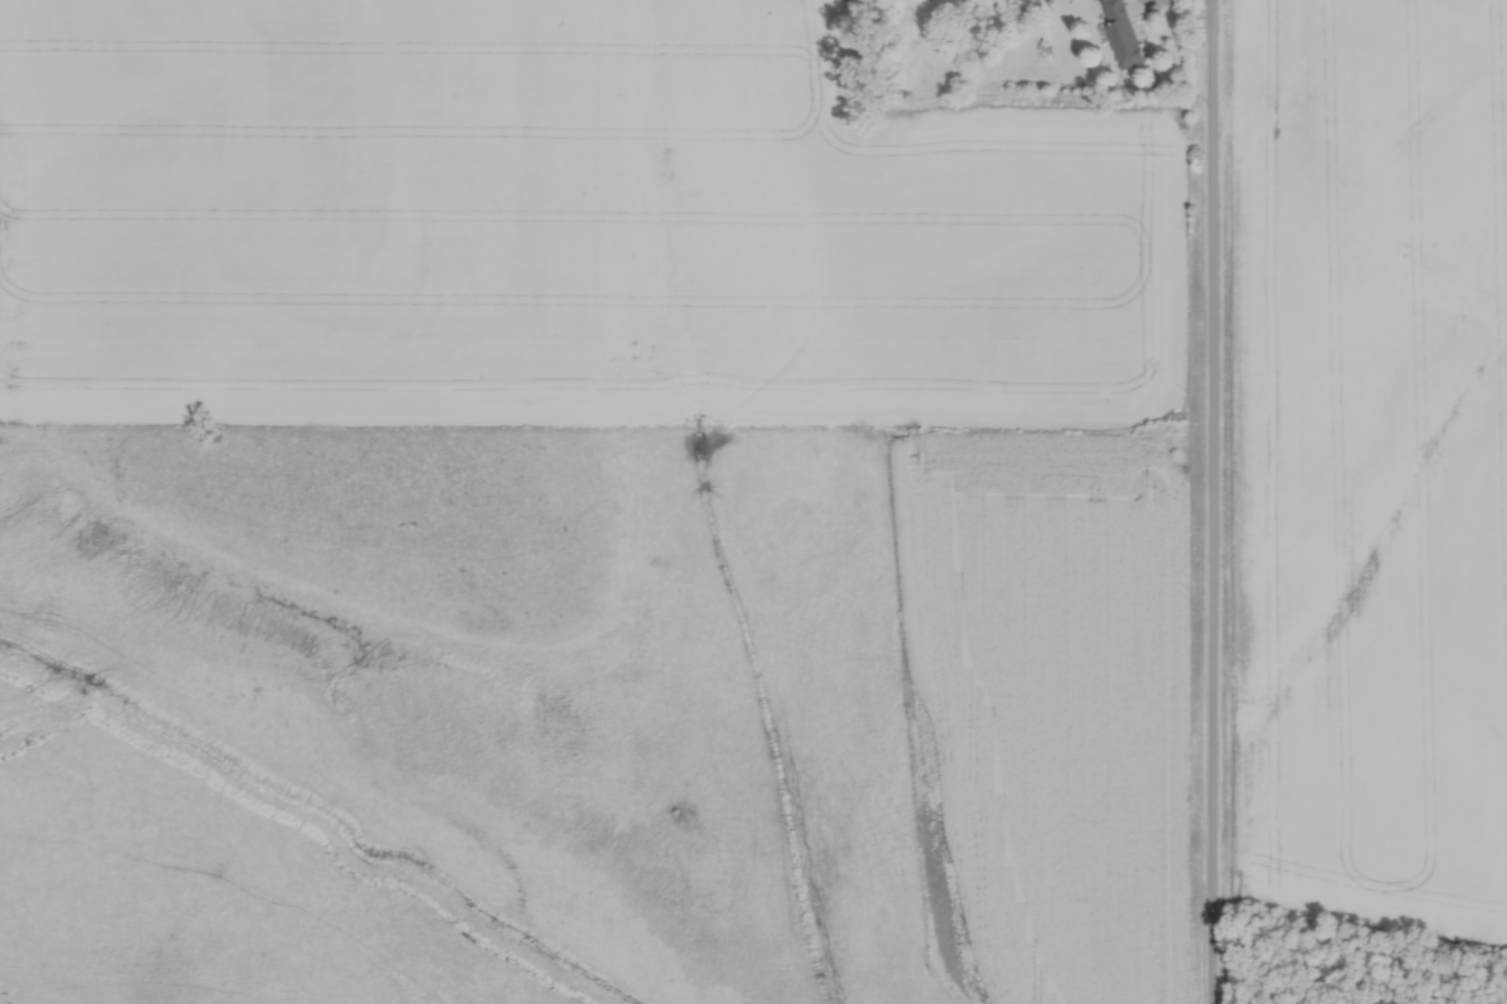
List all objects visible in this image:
building: (1123, 30)
road: (1209, 502)

